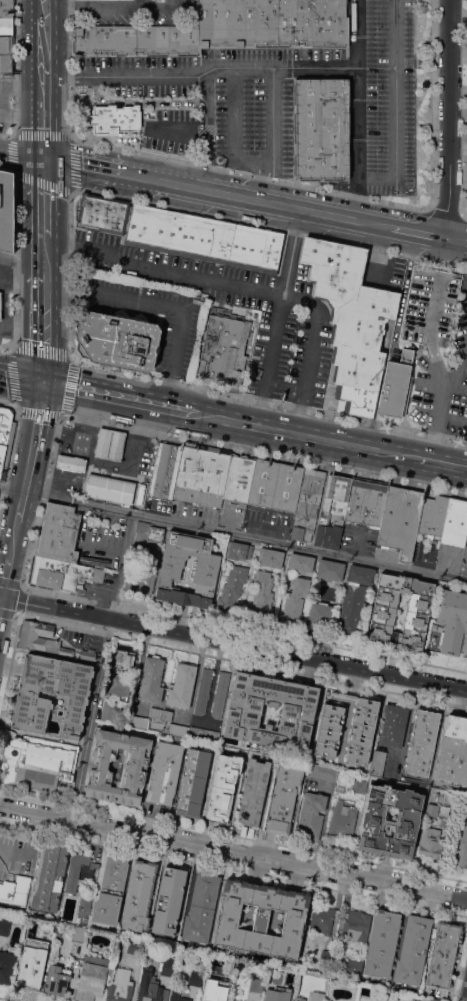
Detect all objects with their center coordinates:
road: (90, 7)
road: (157, 7)
building: (7, 8)
road: (43, 8)
parking lot: (136, 12)
building: (272, 24)
building: (5, 26)
building: (167, 39)
building: (103, 40)
building: (6, 45)
road: (43, 56)
building: (6, 64)
road: (14, 67)
road: (232, 67)
road: (58, 76)
road: (396, 88)
road: (358, 96)
parking lot: (380, 97)
parking lot: (218, 100)
road: (152, 101)
road: (432, 104)
road: (234, 111)
road: (273, 117)
building: (113, 118)
road: (449, 118)
road: (44, 127)
road: (209, 129)
building: (321, 129)
road: (6, 133)
road: (209, 147)
road: (22, 155)
traffic signals: (45, 159)
road: (181, 160)
road: (83, 166)
road: (24, 173)
road: (377, 177)
road: (257, 181)
road: (237, 195)
road: (44, 202)
road: (355, 205)
road: (186, 209)
building: (7, 210)
road: (443, 211)
road: (463, 215)
road: (372, 222)
building: (153, 226)
road: (416, 231)
road: (452, 238)
road: (465, 241)
building: (249, 247)
road: (15, 251)
road: (22, 263)
road: (242, 285)
building: (0, 305)
gas station: (0, 305)
road: (162, 305)
building: (430, 306)
parking lot: (150, 313)
road: (44, 314)
road: (278, 316)
parking lot: (294, 317)
building: (350, 319)
building: (117, 338)
road: (465, 341)
road: (6, 346)
building: (223, 348)
road: (19, 349)
road: (21, 379)
traffic signals: (44, 384)
building: (394, 385)
road: (442, 389)
road: (105, 395)
road: (269, 400)
road: (9, 402)
building: (0, 405)
road: (182, 410)
building: (6, 426)
road: (306, 434)
building: (101, 442)
building: (115, 445)
road: (31, 451)
road: (9, 453)
road: (264, 454)
building: (2, 456)
road: (425, 457)
road: (452, 460)
building: (70, 463)
road: (452, 463)
building: (162, 471)
building: (200, 471)
building: (0, 475)
building: (236, 479)
building: (260, 483)
building: (310, 485)
building: (285, 488)
road: (12, 489)
building: (106, 490)
gas station: (106, 490)
building: (332, 496)
building: (195, 498)
road: (41, 500)
building: (363, 503)
building: (430, 514)
building: (304, 515)
building: (327, 520)
building: (397, 522)
building: (453, 523)
building: (142, 526)
building: (466, 531)
building: (58, 532)
building: (294, 534)
road: (245, 536)
building: (325, 537)
building: (140, 538)
parking lot: (99, 540)
building: (234, 550)
building: (247, 551)
parking lot: (423, 551)
building: (270, 557)
road: (9, 562)
building: (299, 563)
road: (122, 566)
building: (65, 568)
building: (185, 570)
building: (327, 570)
building: (96, 575)
building: (143, 575)
building: (358, 576)
building: (45, 578)
building: (230, 589)
building: (261, 594)
road: (18, 595)
traffic signals: (2, 597)
building: (295, 602)
building: (350, 613)
building: (400, 613)
building: (318, 617)
building: (451, 619)
building: (434, 636)
building: (41, 638)
road: (233, 643)
building: (87, 654)
building: (120, 672)
building: (151, 680)
building: (181, 686)
building: (203, 691)
building: (51, 693)
building: (220, 694)
building: (109, 710)
building: (155, 714)
building: (295, 715)
building: (165, 716)
road: (90, 718)
building: (393, 725)
building: (328, 729)
building: (178, 730)
building: (362, 730)
building: (203, 734)
building: (422, 743)
building: (453, 751)
building: (378, 763)
building: (40, 764)
building: (133, 765)
building: (165, 771)
building: (324, 772)
building: (193, 782)
building: (359, 786)
building: (223, 787)
building: (339, 789)
building: (253, 793)
building: (283, 800)
building: (311, 814)
building: (341, 821)
building: (376, 821)
building: (430, 843)
building: (460, 845)
road: (233, 850)
building: (78, 870)
building: (50, 878)
building: (15, 890)
building: (109, 893)
building: (138, 896)
building: (169, 900)
building: (85, 901)
building: (201, 908)
building: (83, 919)
building: (260, 919)
building: (323, 920)
building: (356, 924)
building: (4, 927)
building: (78, 934)
building: (381, 943)
building: (42, 947)
building: (134, 947)
building: (413, 950)
building: (442, 955)
building: (325, 959)
building: (6, 966)
building: (167, 966)
building: (353, 969)
building: (26, 972)
building: (91, 978)
building: (195, 978)
building: (57, 980)
building: (225, 984)
building: (119, 985)
building: (257, 985)
building: (287, 991)
building: (152, 992)
building: (268, 996)
building: (317, 996)
building: (179, 998)
building: (210, 998)
building: (299, 998)
road: (466, 999)
building: (380, 1000)
building: (434, 1000)

